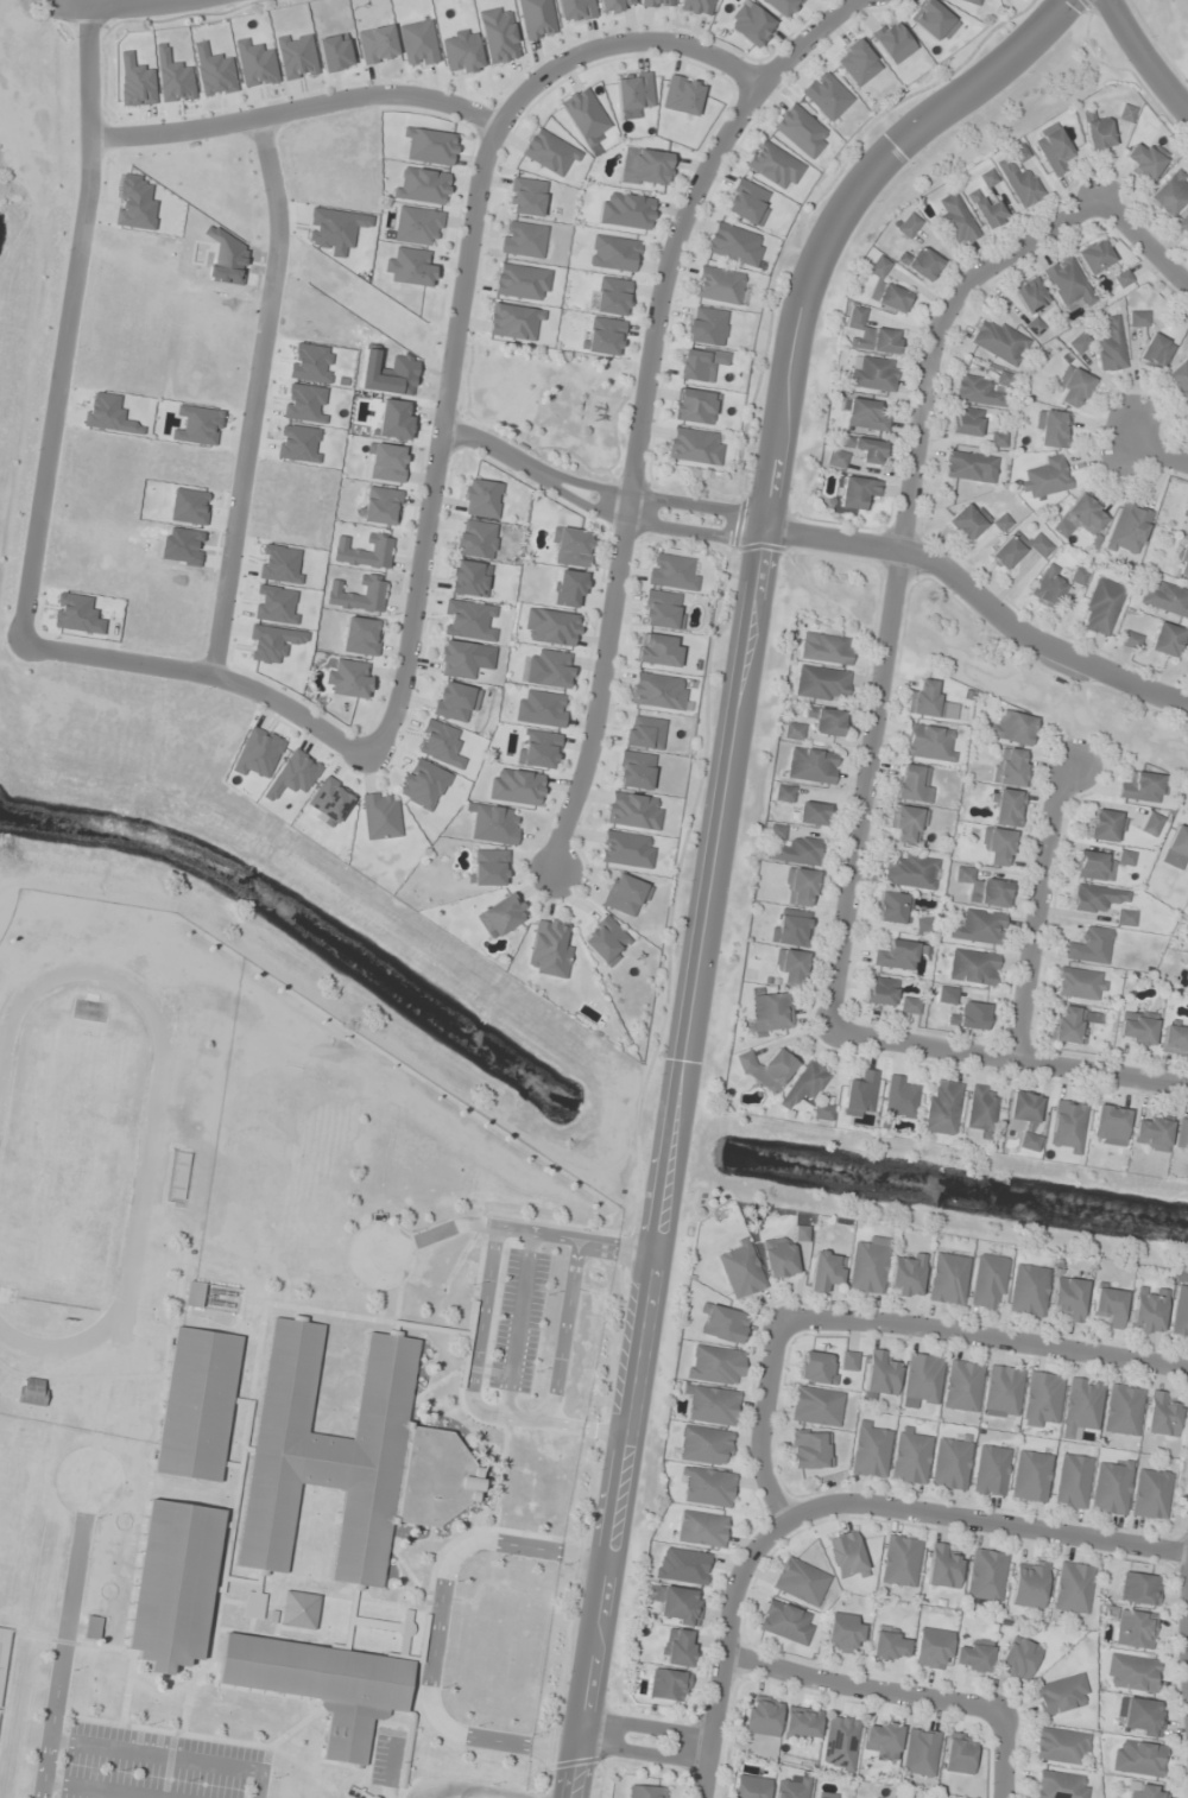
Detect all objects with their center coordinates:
building: (971, 1)
road: (105, 2)
building: (657, 2)
building: (615, 5)
building: (696, 6)
building: (782, 6)
building: (575, 10)
building: (536, 18)
building: (933, 20)
building: (750, 23)
building: (498, 34)
building: (892, 40)
building: (417, 43)
building: (377, 44)
building: (461, 51)
road: (1144, 59)
building: (857, 62)
building: (633, 90)
building: (682, 95)
building: (826, 95)
road: (295, 109)
building: (584, 115)
building: (801, 131)
building: (1098, 133)
building: (430, 146)
building: (1053, 148)
building: (549, 152)
building: (1144, 162)
building: (773, 165)
building: (644, 166)
building: (987, 178)
building: (1019, 183)
building: (422, 185)
building: (1169, 194)
building: (525, 196)
building: (746, 202)
building: (625, 210)
building: (986, 210)
building: (956, 220)
building: (417, 224)
building: (908, 224)
building: (1183, 224)
building: (523, 239)
building: (734, 243)
road: (1144, 245)
building: (613, 253)
building: (1094, 257)
building: (921, 262)
building: (409, 267)
building: (520, 281)
building: (1067, 281)
building: (718, 285)
building: (886, 289)
building: (612, 296)
building: (1030, 296)
building: (1138, 318)
building: (514, 322)
road: (68, 324)
building: (707, 325)
building: (871, 334)
building: (605, 336)
building: (998, 341)
building: (1079, 342)
building: (1111, 347)
building: (1155, 350)
building: (700, 363)
building: (874, 374)
building: (1180, 376)
building: (1073, 386)
building: (984, 390)
road: (255, 395)
building: (695, 406)
road: (643, 407)
building: (865, 416)
building: (966, 422)
building: (1051, 429)
building: (694, 445)
building: (866, 449)
road: (1161, 450)
road: (492, 451)
building: (836, 458)
building: (387, 462)
building: (969, 467)
road: (434, 477)
building: (1045, 477)
building: (858, 492)
building: (480, 498)
building: (380, 506)
building: (1079, 517)
building: (967, 520)
building: (1186, 523)
road: (760, 528)
building: (1127, 528)
building: (475, 539)
building: (571, 547)
building: (1018, 547)
building: (1182, 561)
building: (671, 572)
road: (895, 572)
building: (1078, 576)
building: (468, 578)
building: (1047, 585)
building: (1164, 597)
road: (980, 600)
building: (1102, 607)
building: (662, 609)
building: (468, 620)
building: (550, 627)
building: (361, 637)
building: (1165, 639)
building: (826, 648)
building: (658, 650)
building: (456, 659)
building: (552, 669)
building: (350, 679)
building: (821, 683)
building: (658, 691)
building: (454, 701)
building: (930, 702)
building: (541, 708)
building: (826, 721)
building: (1011, 729)
building: (791, 730)
building: (643, 733)
building: (930, 742)
building: (537, 749)
building: (811, 765)
building: (1011, 767)
building: (634, 770)
building: (914, 783)
building: (423, 784)
building: (516, 786)
building: (1143, 787)
building: (784, 793)
building: (329, 800)
building: (1007, 808)
building: (632, 811)
building: (813, 813)
building: (379, 817)
building: (494, 824)
building: (906, 824)
building: (1150, 824)
building: (1106, 825)
building: (997, 846)
road: (715, 847)
building: (1176, 848)
building: (626, 850)
building: (796, 851)
building: (1093, 866)
building: (489, 867)
building: (910, 873)
building: (801, 887)
building: (982, 888)
building: (625, 895)
building: (1097, 898)
building: (891, 907)
road: (1038, 910)
building: (500, 916)
building: (1125, 918)
building: (978, 928)
building: (790, 929)
building: (606, 941)
building: (546, 947)
building: (1089, 947)
building: (897, 955)
building: (791, 967)
building: (972, 967)
building: (1080, 985)
building: (880, 992)
building: (947, 995)
building: (909, 1005)
building: (770, 1012)
building: (971, 1015)
building: (1068, 1024)
building: (1136, 1028)
building: (1175, 1039)
road: (1007, 1057)
building: (766, 1069)
building: (803, 1084)
building: (860, 1094)
building: (899, 1097)
building: (942, 1107)
building: (1023, 1107)
building: (980, 1108)
building: (822, 1112)
building: (1067, 1126)
building: (1108, 1126)
building: (1151, 1133)
building: (1181, 1138)
building: (1029, 1141)
building: (778, 1256)
building: (868, 1266)
building: (740, 1270)
building: (824, 1271)
building: (906, 1275)
building: (948, 1279)
building: (987, 1281)
building: (1029, 1290)
building: (192, 1293)
building: (1068, 1299)
building: (1108, 1305)
building: (1149, 1310)
building: (1180, 1313)
building: (722, 1324)
road: (982, 1337)
building: (848, 1361)
building: (714, 1365)
building: (817, 1368)
building: (880, 1373)
building: (922, 1379)
building: (962, 1386)
building: (1003, 1389)
building: (31, 1392)
building: (1041, 1399)
building: (196, 1405)
building: (712, 1405)
building: (816, 1406)
building: (1081, 1407)
building: (1123, 1410)
building: (1161, 1414)
building: (704, 1446)
building: (871, 1449)
building: (810, 1450)
building: (910, 1456)
building: (347, 1457)
building: (950, 1464)
building: (991, 1470)
building: (1030, 1476)
building: (1072, 1481)
building: (707, 1487)
building: (1112, 1487)
building: (1150, 1494)
road: (985, 1521)
building: (701, 1528)
road: (753, 1551)
building: (843, 1555)
building: (899, 1562)
building: (682, 1566)
building: (942, 1566)
building: (986, 1575)
building: (800, 1582)
building: (1029, 1583)
building: (173, 1584)
building: (1073, 1588)
building: (1138, 1589)
building: (676, 1606)
building: (298, 1609)
building: (785, 1622)
road: (1187, 1626)
building: (1131, 1627)
building: (91, 1628)
building: (843, 1632)
building: (890, 1645)
building: (677, 1647)
building: (931, 1648)
building: (973, 1655)
building: (1017, 1659)
building: (1131, 1673)
building: (322, 1685)
building: (668, 1685)
road: (858, 1688)
building: (1060, 1695)
building: (762, 1716)
building: (1140, 1717)
road: (647, 1724)
building: (801, 1724)
building: (880, 1740)
building: (839, 1743)
building: (1060, 1746)
road: (643, 1753)
building: (920, 1753)
building: (958, 1753)
road: (1003, 1753)
building: (1137, 1759)
building: (1060, 1785)
building: (750, 1787)
building: (792, 1787)
building: (1145, 1791)
building: (645, 1792)
building: (867, 1797)

